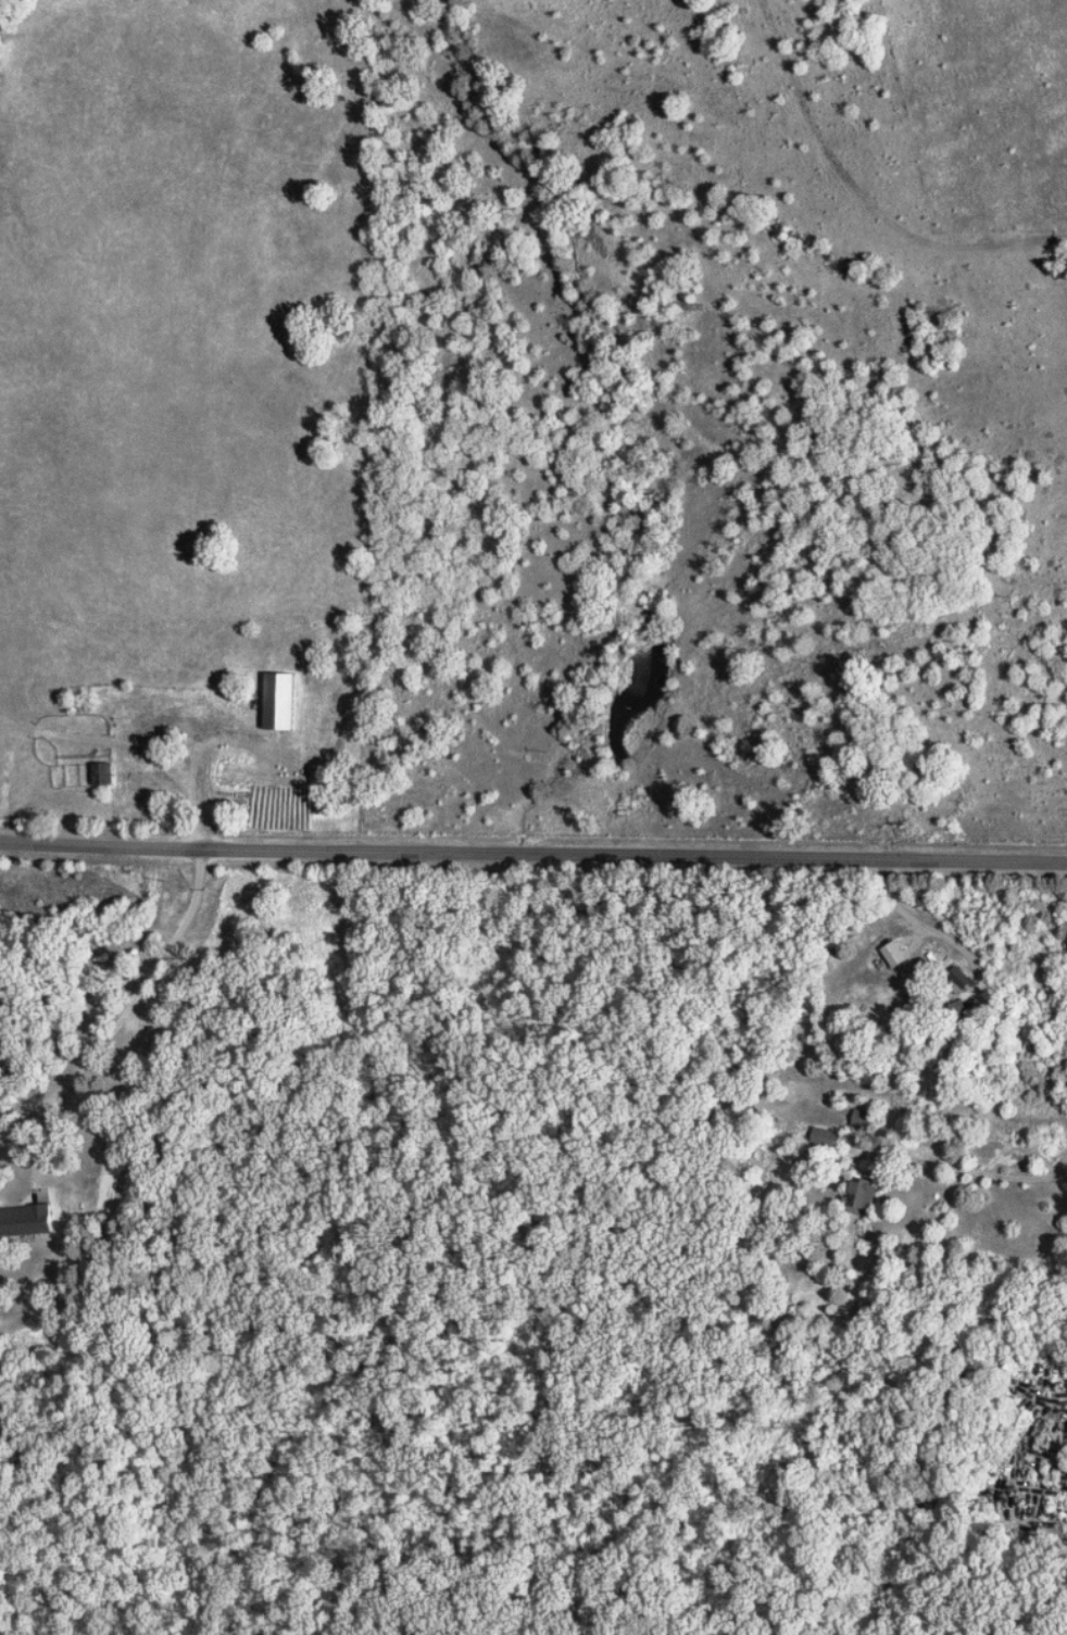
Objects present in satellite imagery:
building: (283, 701)
building: (105, 774)
road: (533, 851)
building: (897, 954)
building: (963, 977)
building: (962, 1006)
road: (85, 1061)
building: (866, 1118)
building: (828, 1136)
road: (978, 1178)
building: (867, 1193)
building: (29, 1220)

